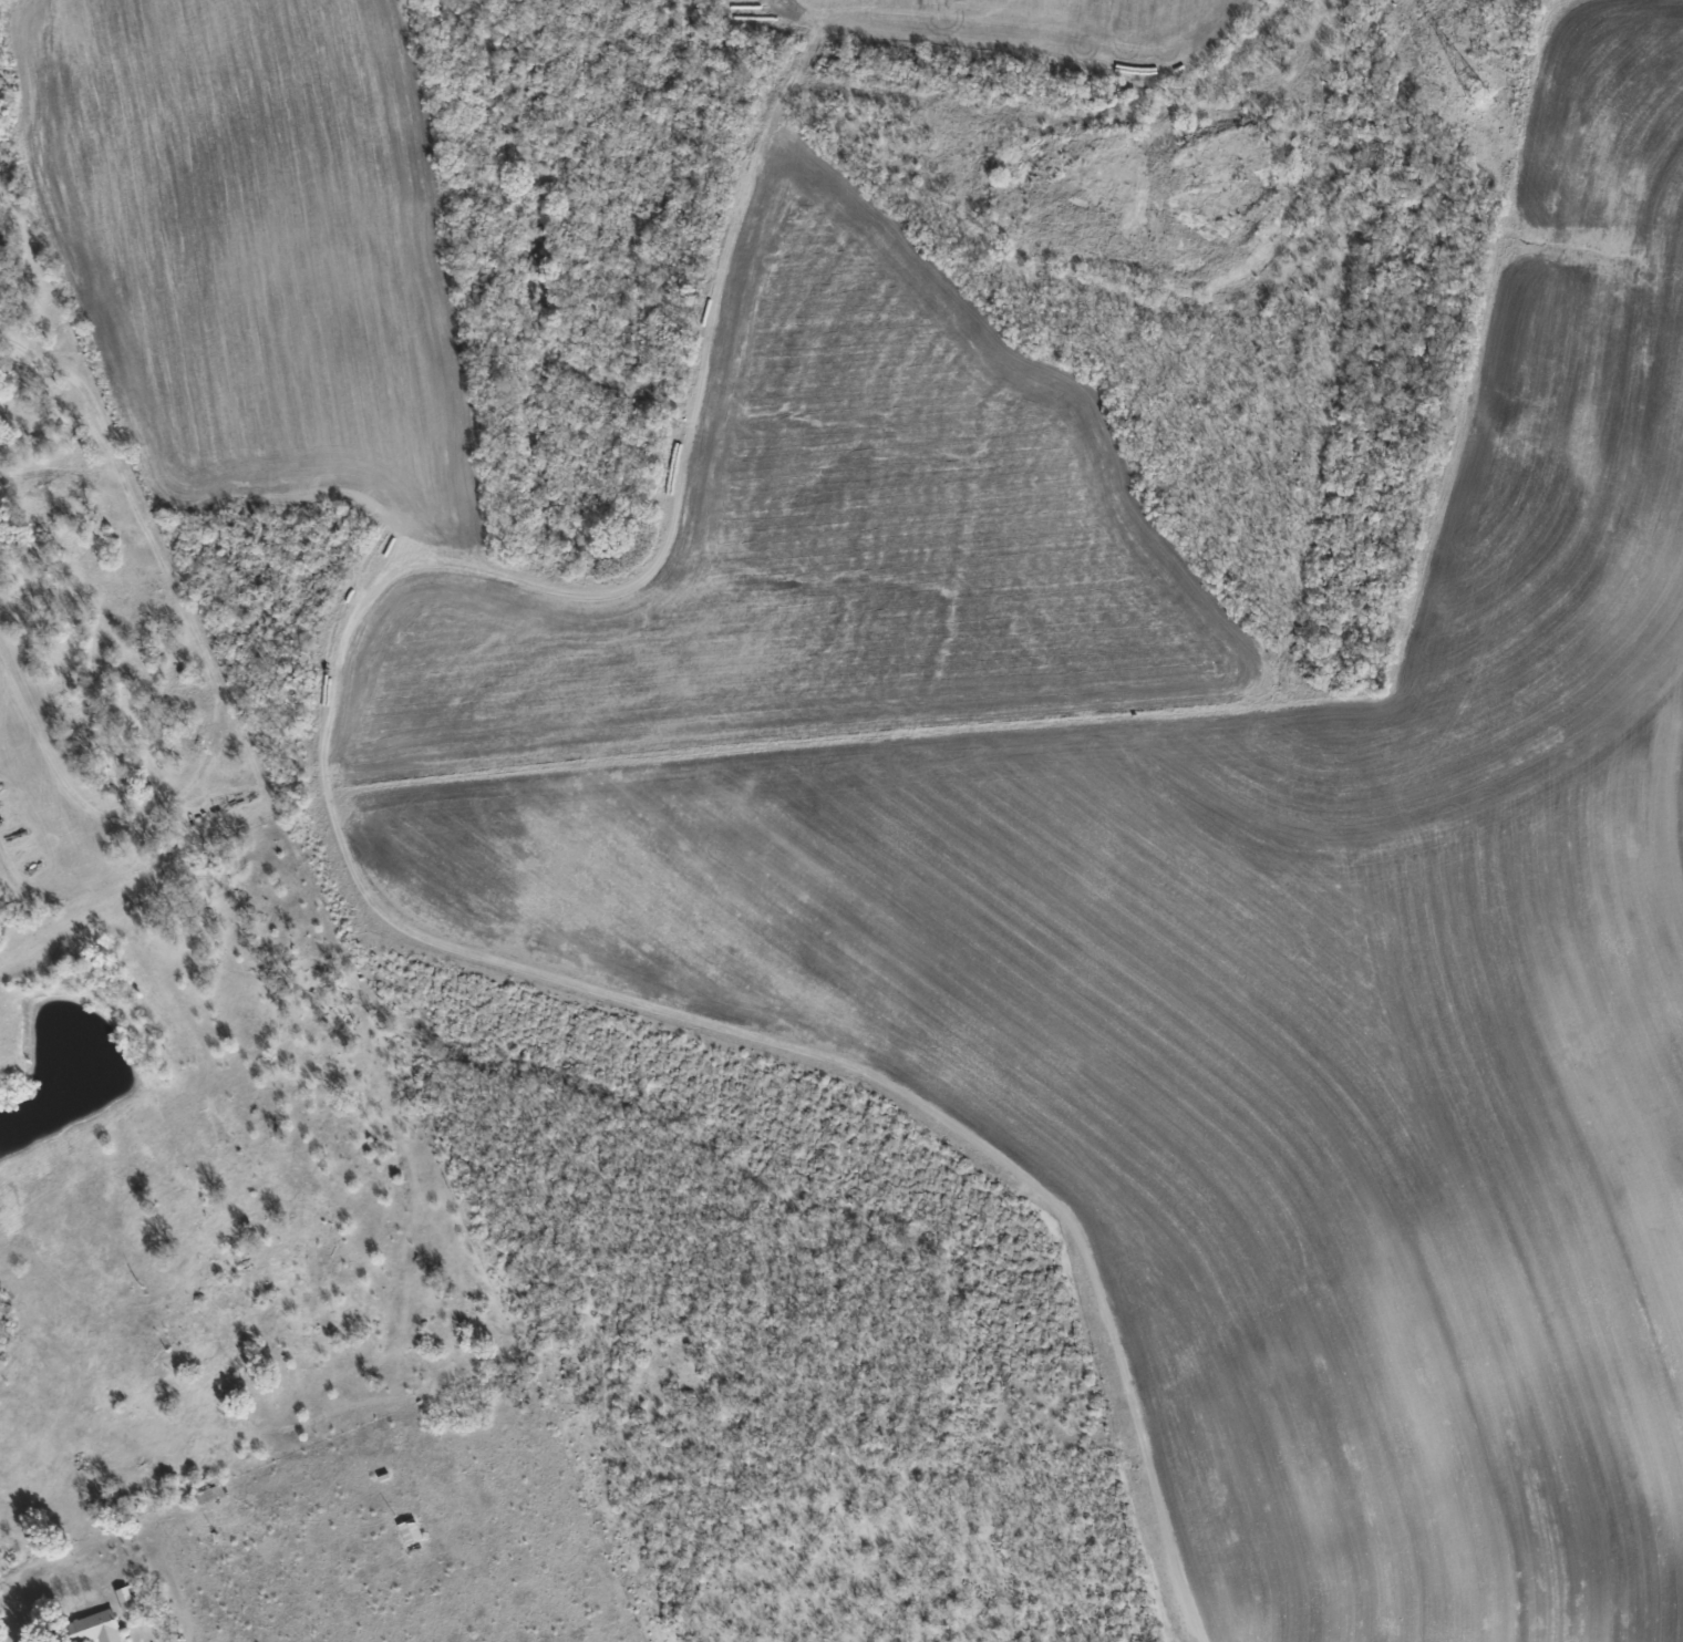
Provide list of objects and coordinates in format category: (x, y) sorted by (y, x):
power tower: (1481, 100)
building: (125, 1600)
building: (97, 1628)

